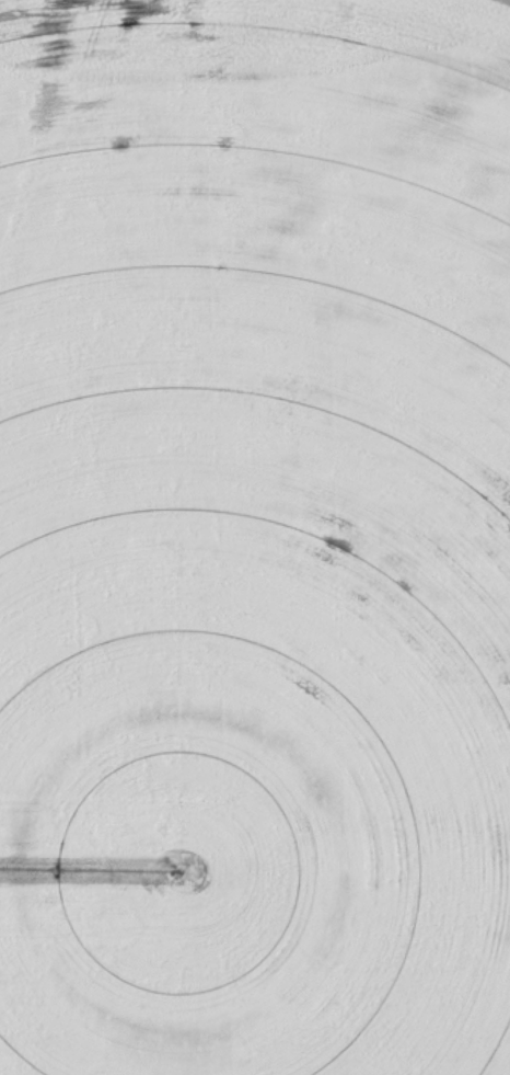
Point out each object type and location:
crop: (255, 537)
wastewater plant: (255, 537)

